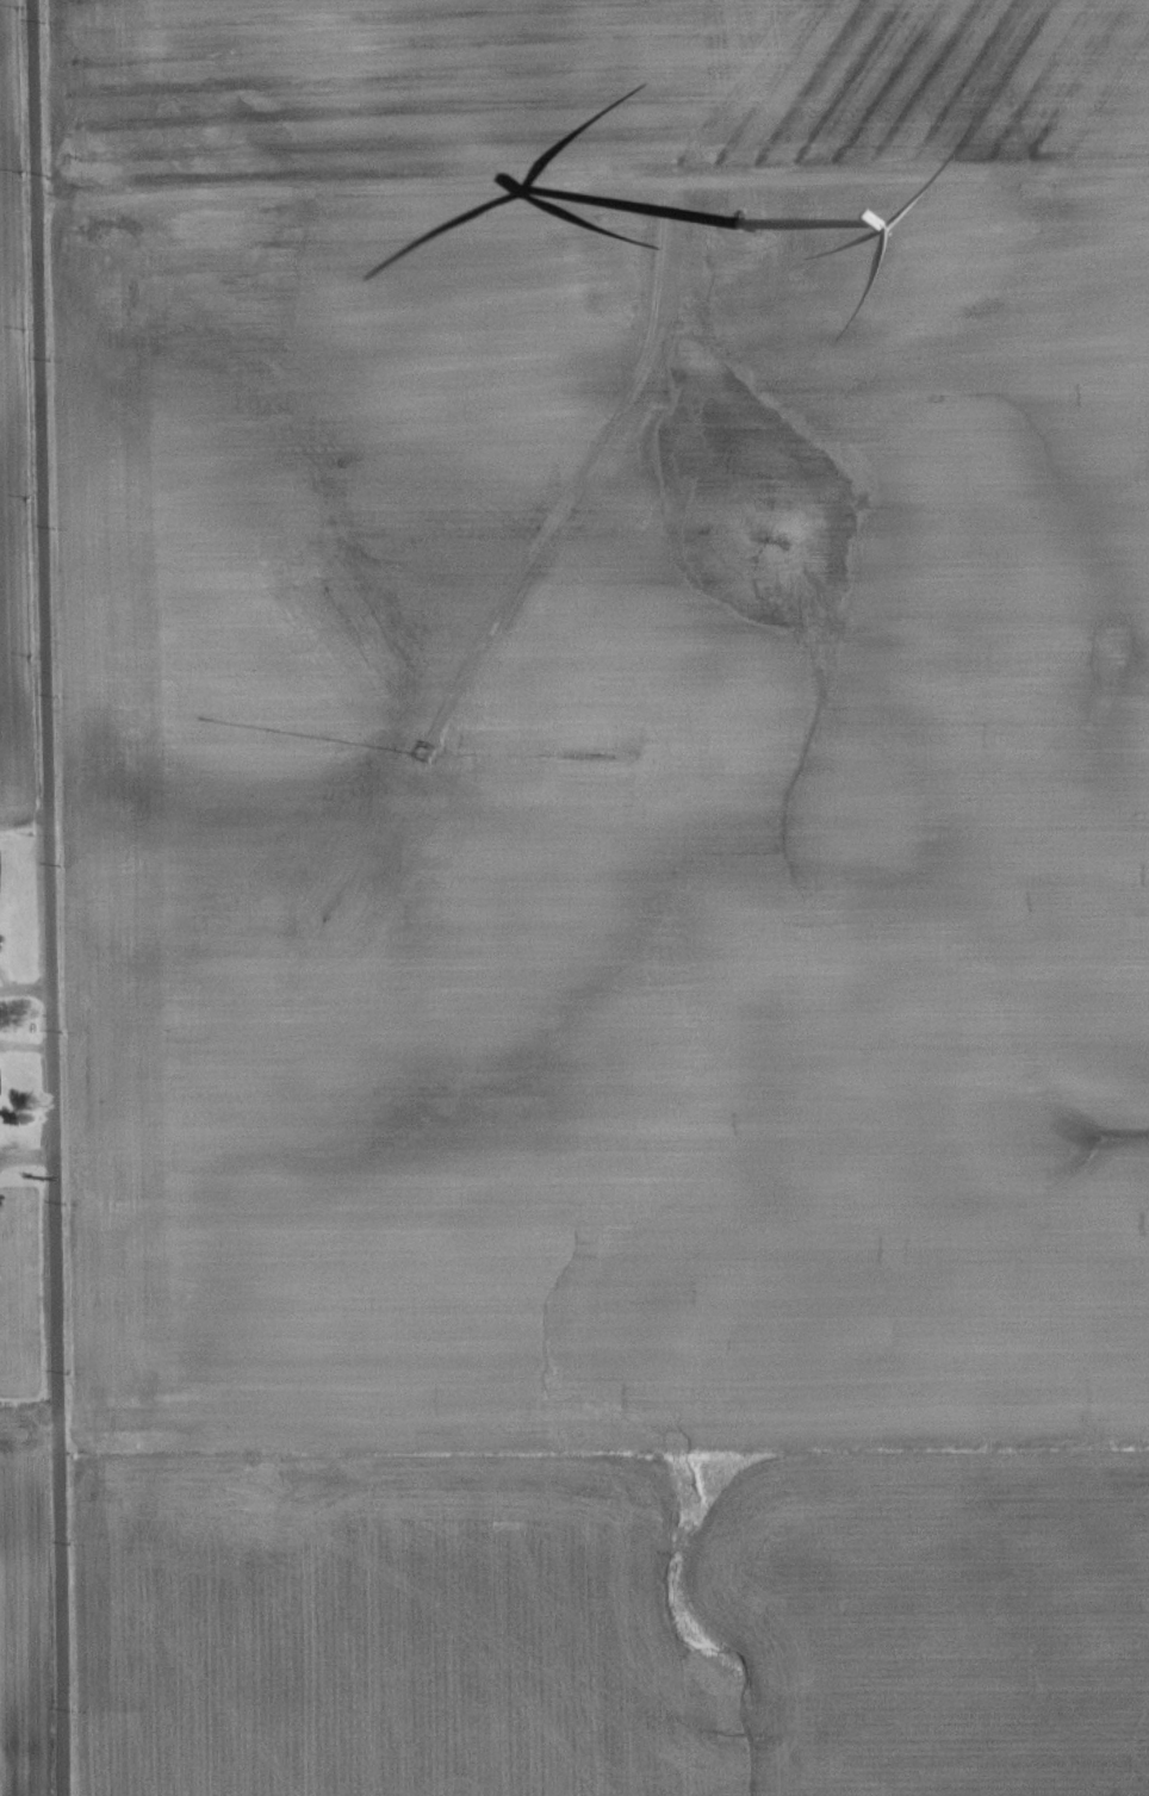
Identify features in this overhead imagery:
wind turbine: (746, 226)
road: (48, 897)
road: (24, 982)
road: (25, 1046)

